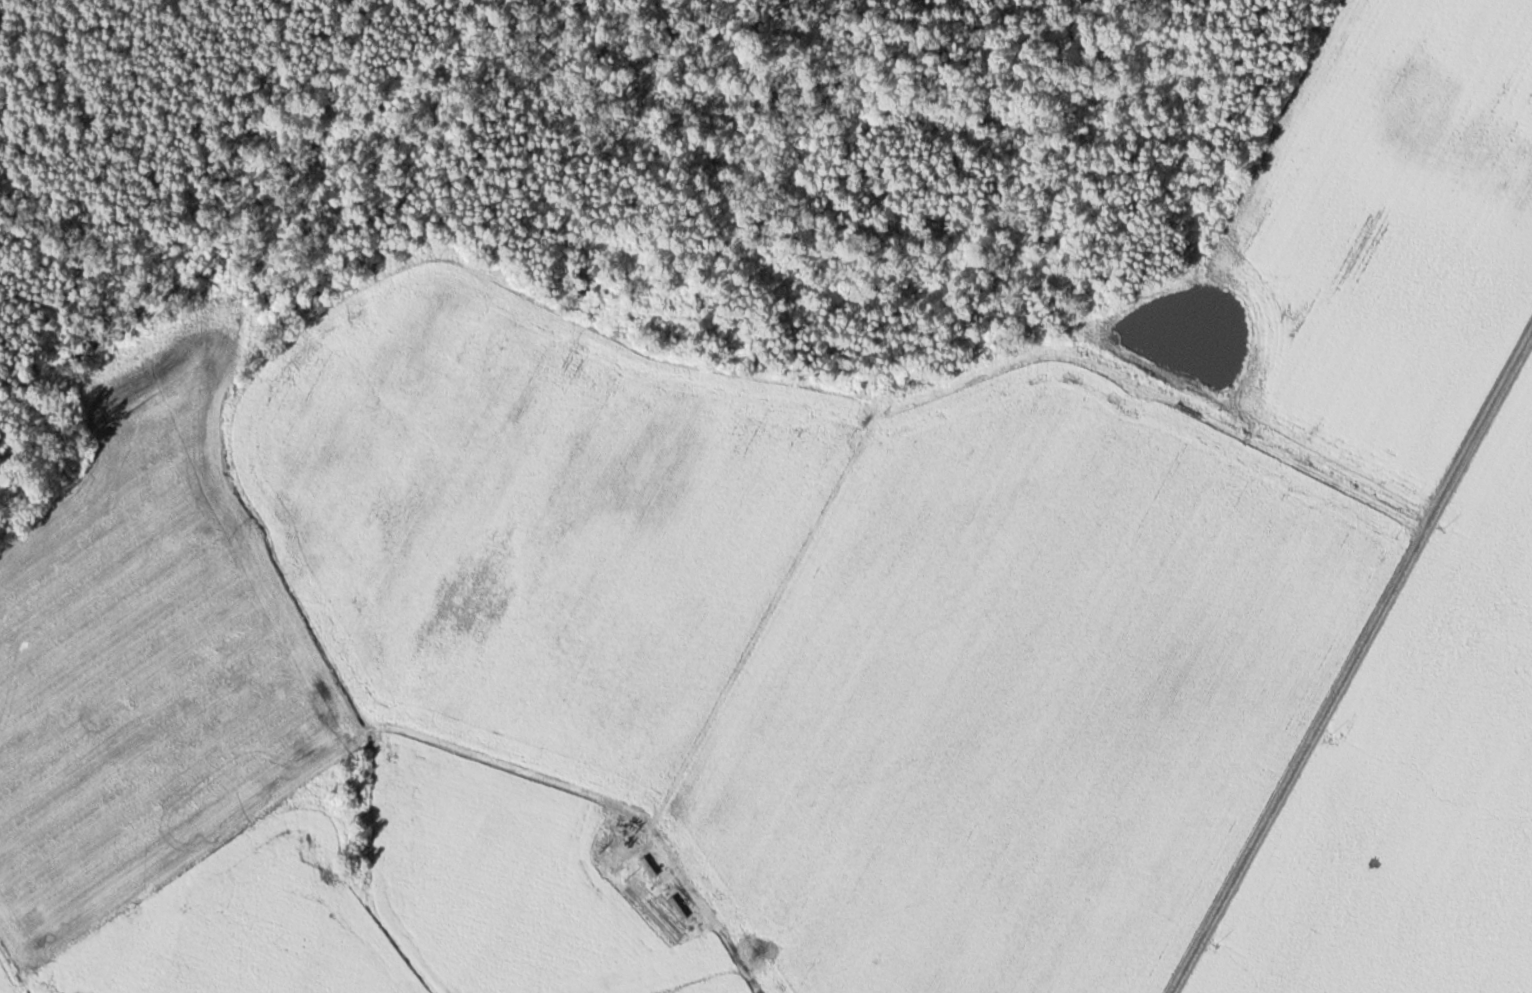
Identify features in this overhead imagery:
building: (616, 853)

